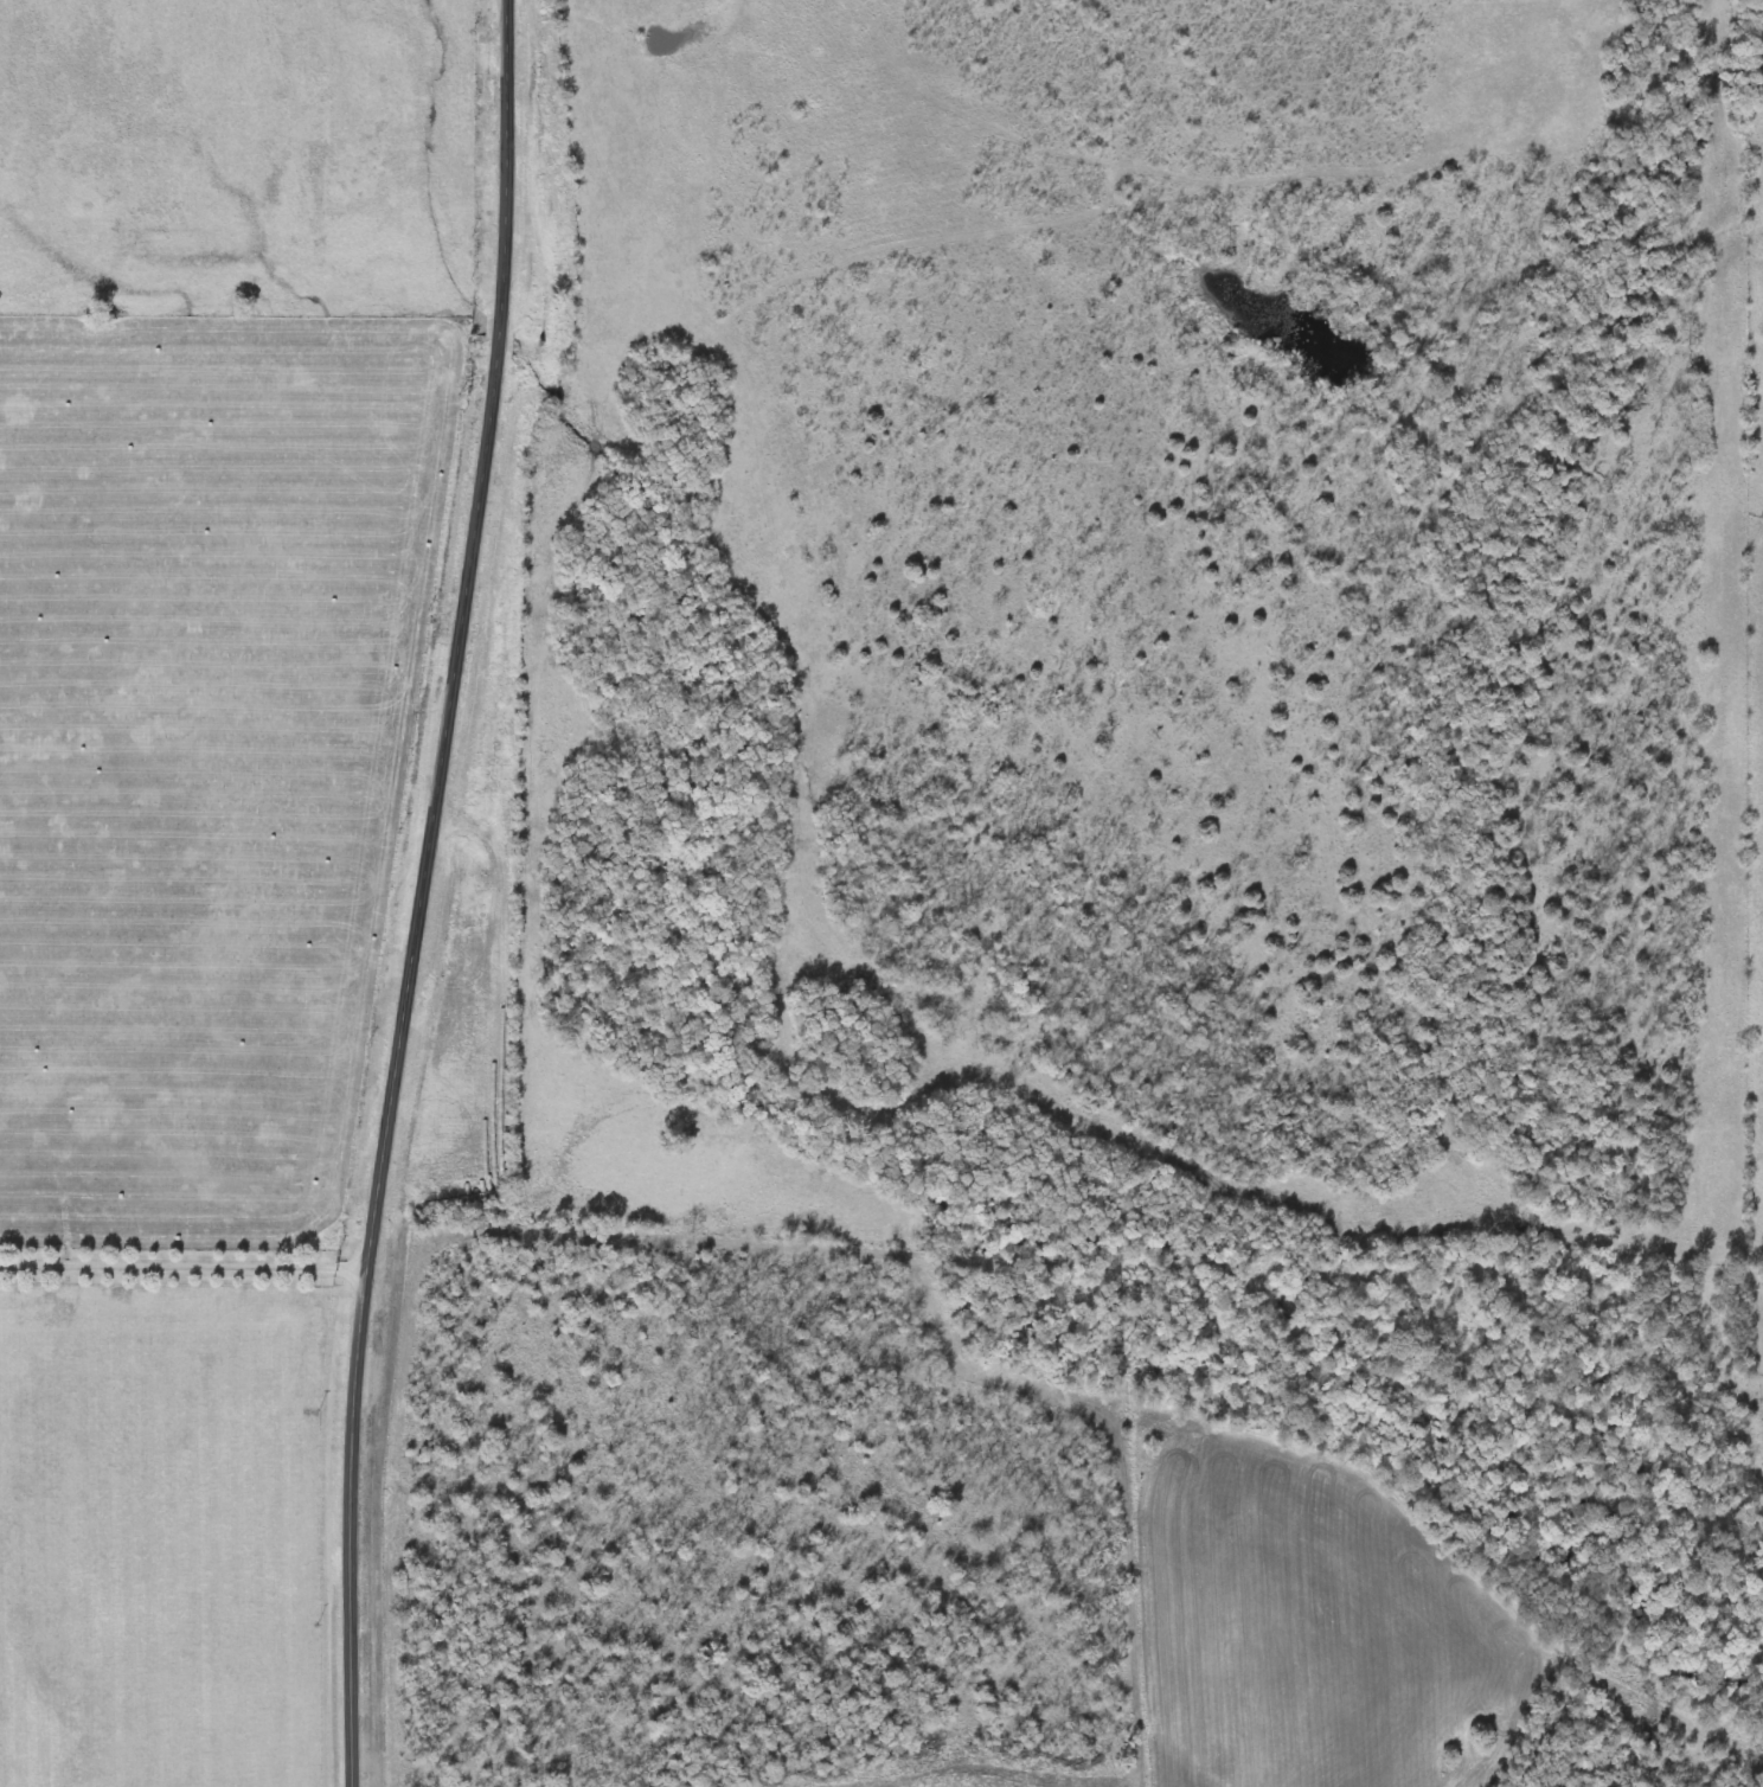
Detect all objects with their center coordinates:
road: (419, 892)
road: (185, 1268)

